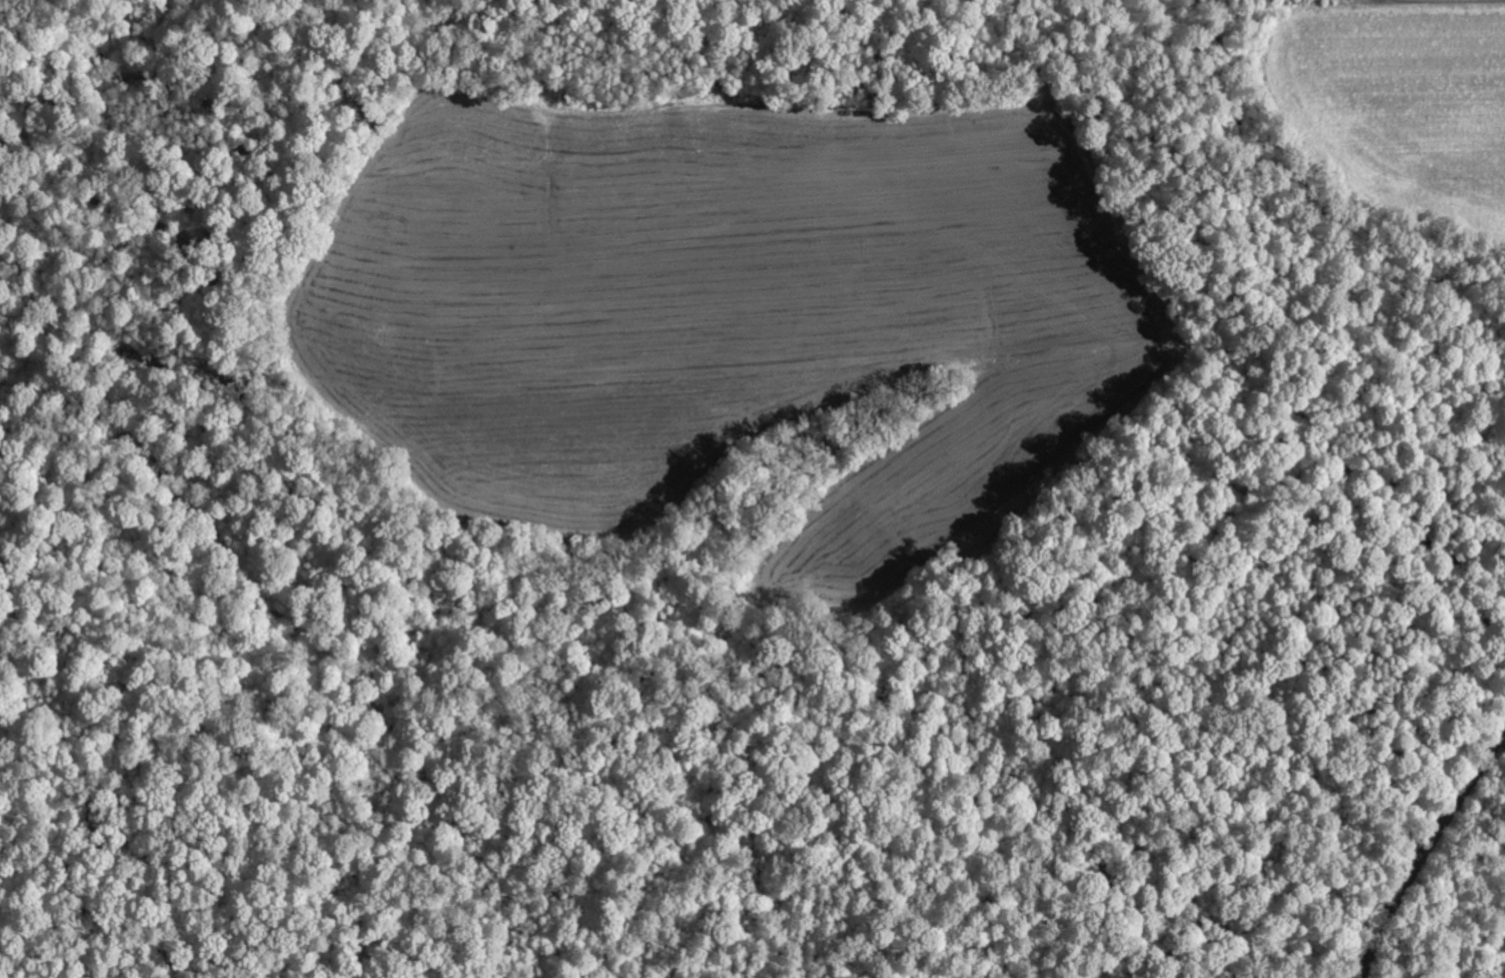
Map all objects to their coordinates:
park: (1367, 2)
road: (1427, 852)

